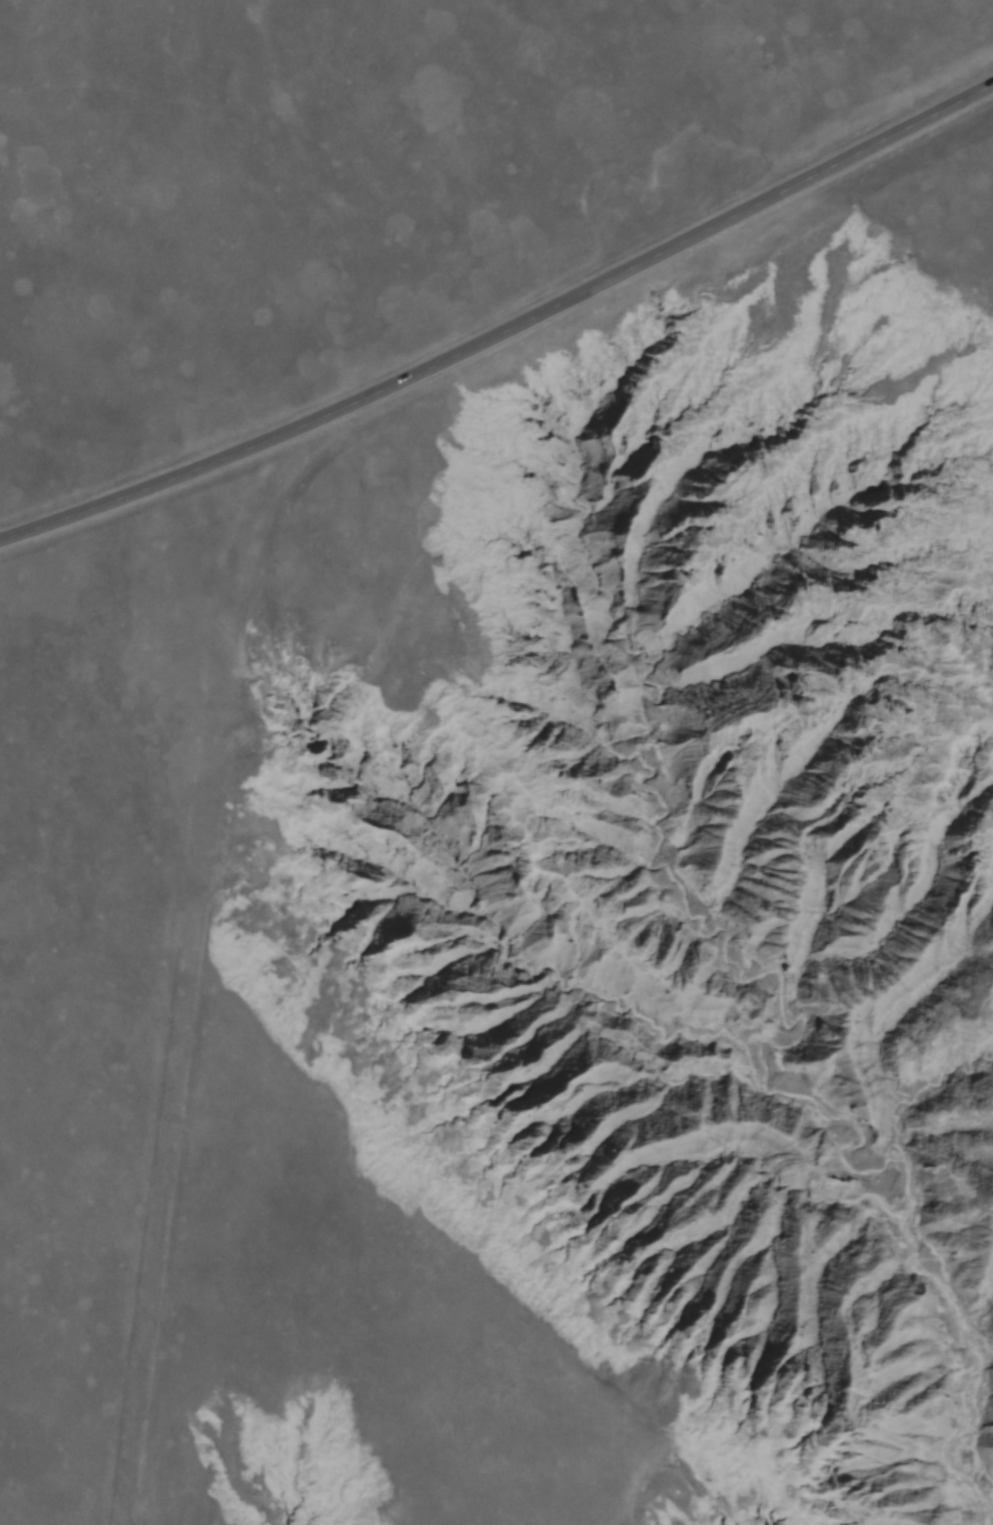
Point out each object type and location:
road: (504, 328)

